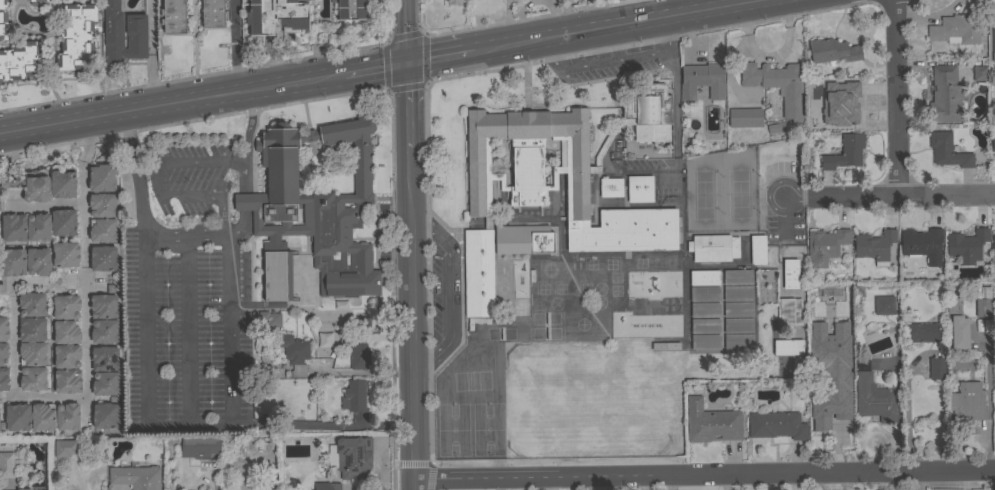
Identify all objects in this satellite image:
building: (36, 1)
building: (453, 2)
building: (351, 9)
building: (213, 14)
building: (277, 16)
building: (173, 17)
building: (3, 21)
building: (136, 25)
road: (622, 26)
building: (955, 29)
building: (993, 35)
building: (77, 37)
road: (234, 46)
road: (151, 52)
building: (833, 52)
road: (440, 58)
building: (21, 62)
road: (611, 62)
traffic signals: (409, 64)
building: (980, 74)
building: (700, 79)
building: (779, 86)
road: (269, 87)
building: (945, 95)
road: (895, 98)
building: (848, 103)
building: (648, 110)
building: (745, 118)
road: (64, 121)
building: (814, 124)
building: (776, 128)
road: (88, 138)
road: (248, 142)
building: (608, 144)
building: (993, 147)
building: (947, 151)
building: (845, 153)
building: (102, 178)
building: (528, 184)
building: (62, 185)
road: (155, 185)
building: (610, 187)
building: (36, 189)
building: (640, 189)
road: (410, 190)
park: (721, 192)
road: (890, 197)
road: (243, 202)
building: (102, 205)
building: (318, 205)
road: (786, 220)
road: (142, 222)
road: (241, 222)
building: (63, 223)
building: (13, 227)
building: (38, 227)
building: (102, 230)
building: (521, 240)
building: (827, 244)
building: (922, 245)
building: (875, 246)
building: (967, 246)
building: (713, 248)
building: (993, 249)
building: (758, 250)
building: (65, 254)
building: (103, 259)
building: (25, 262)
building: (790, 274)
building: (478, 275)
building: (277, 276)
building: (737, 277)
building: (704, 278)
building: (704, 294)
building: (738, 294)
road: (453, 295)
building: (983, 300)
building: (826, 303)
building: (32, 305)
building: (104, 306)
building: (884, 306)
building: (66, 307)
building: (738, 309)
building: (705, 310)
building: (789, 311)
building: (270, 319)
road: (85, 322)
building: (957, 323)
building: (705, 326)
building: (738, 326)
building: (4, 329)
building: (32, 329)
building: (104, 331)
building: (66, 332)
road: (227, 332)
building: (921, 333)
road: (13, 337)
building: (349, 338)
building: (324, 341)
building: (738, 341)
building: (705, 342)
building: (665, 346)
building: (787, 347)
building: (832, 351)
building: (295, 353)
building: (3, 354)
building: (32, 354)
building: (67, 356)
building: (359, 357)
building: (104, 359)
building: (936, 368)
road: (363, 372)
building: (4, 379)
building: (33, 379)
building: (68, 381)
building: (106, 384)
building: (355, 399)
park: (593, 400)
building: (874, 400)
road: (988, 400)
building: (968, 402)
road: (413, 404)
building: (827, 409)
building: (105, 416)
building: (55, 417)
building: (16, 418)
building: (711, 423)
road: (209, 426)
road: (322, 426)
building: (776, 426)
road: (166, 427)
building: (200, 447)
building: (65, 448)
road: (414, 454)
building: (351, 457)
building: (6, 465)
road: (704, 475)
building: (136, 477)
road: (215, 478)
road: (414, 485)
building: (327, 486)
building: (27, 489)

